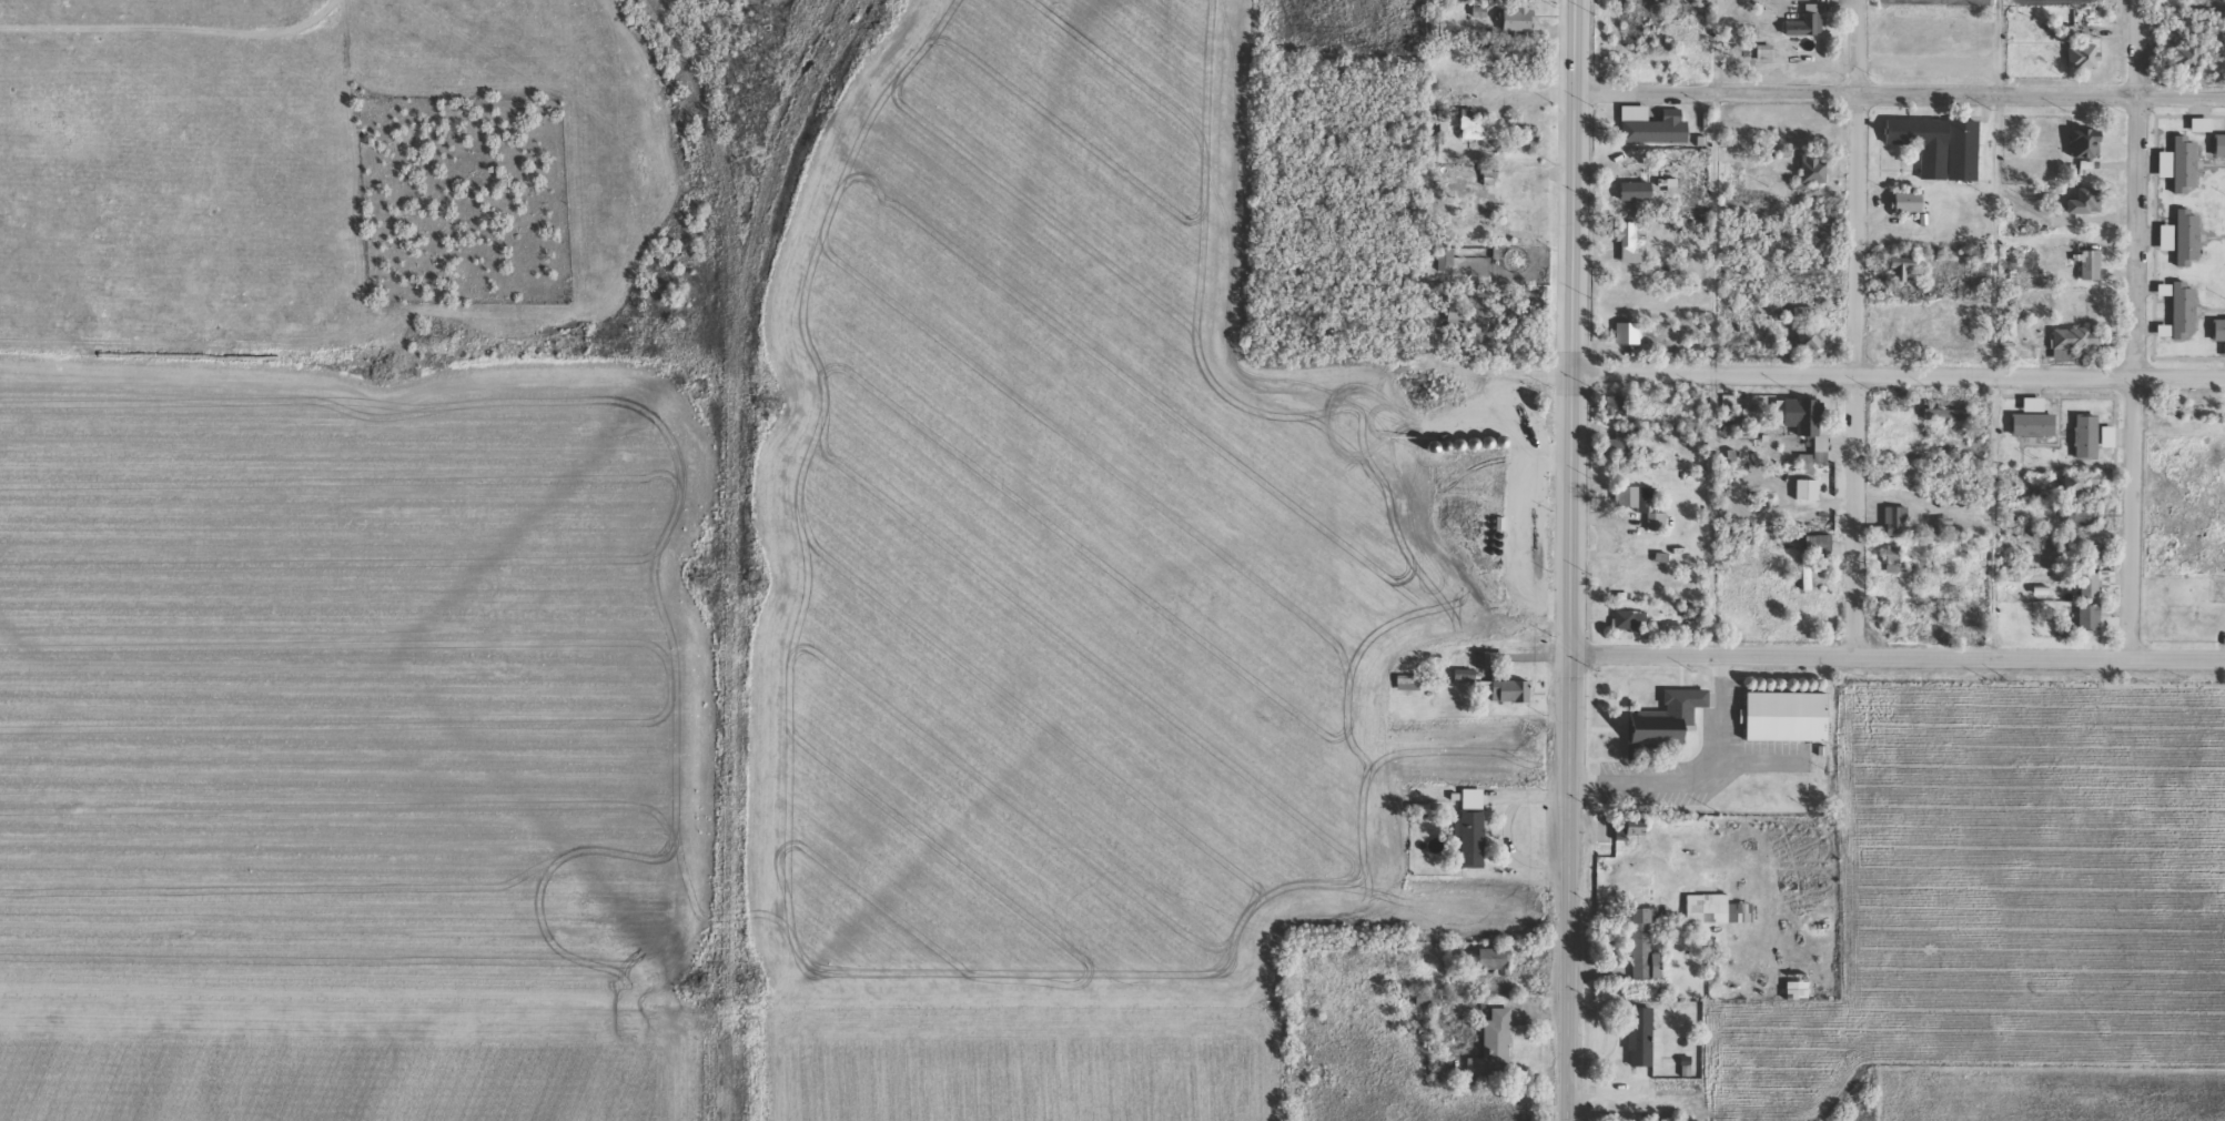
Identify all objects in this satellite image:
building: (1521, 1)
building: (1630, 2)
building: (1477, 10)
building: (1514, 18)
building: (1517, 29)
building: (1807, 31)
building: (1766, 62)
building: (2083, 67)
building: (2188, 68)
road: (1901, 94)
building: (1475, 125)
building: (2202, 134)
building: (1652, 135)
building: (1526, 139)
building: (2087, 153)
building: (1941, 155)
building: (2219, 155)
building: (1489, 169)
building: (2166, 174)
building: (2185, 174)
building: (1813, 180)
building: (1519, 199)
building: (1637, 201)
building: (2087, 211)
building: (1909, 212)
building: (2167, 248)
building: (2187, 248)
building: (1630, 253)
building: (2090, 274)
building: (1903, 277)
building: (2165, 300)
building: (2184, 320)
building: (1806, 321)
road: (1574, 327)
road: (1717, 329)
road: (1858, 330)
road: (1994, 330)
road: (2136, 330)
building: (2165, 340)
building: (2218, 340)
building: (1628, 343)
building: (1812, 349)
building: (2074, 351)
road: (1899, 375)
building: (1616, 414)
building: (2034, 414)
building: (1948, 424)
building: (1809, 434)
building: (2034, 435)
building: (1499, 441)
silo: (1499, 441)
building: (1486, 442)
silo: (1486, 442)
building: (1471, 443)
silo: (1471, 443)
building: (1456, 444)
silo: (1456, 444)
building: (2086, 446)
building: (2108, 446)
building: (1619, 454)
building: (2082, 492)
building: (1808, 499)
building: (1634, 507)
building: (2082, 527)
building: (1895, 529)
building: (1657, 532)
railway: (724, 553)
building: (1819, 555)
building: (1809, 583)
building: (2094, 593)
building: (2090, 628)
building: (1628, 629)
road: (1899, 660)
building: (1487, 669)
building: (1465, 685)
building: (1408, 693)
building: (1511, 701)
building: (1789, 727)
building: (1668, 730)
building: (1420, 818)
building: (1638, 837)
building: (1471, 838)
road: (1571, 888)
building: (1716, 919)
building: (1644, 957)
building: (1496, 970)
building: (1798, 1000)
building: (1644, 1048)
building: (1494, 1057)

